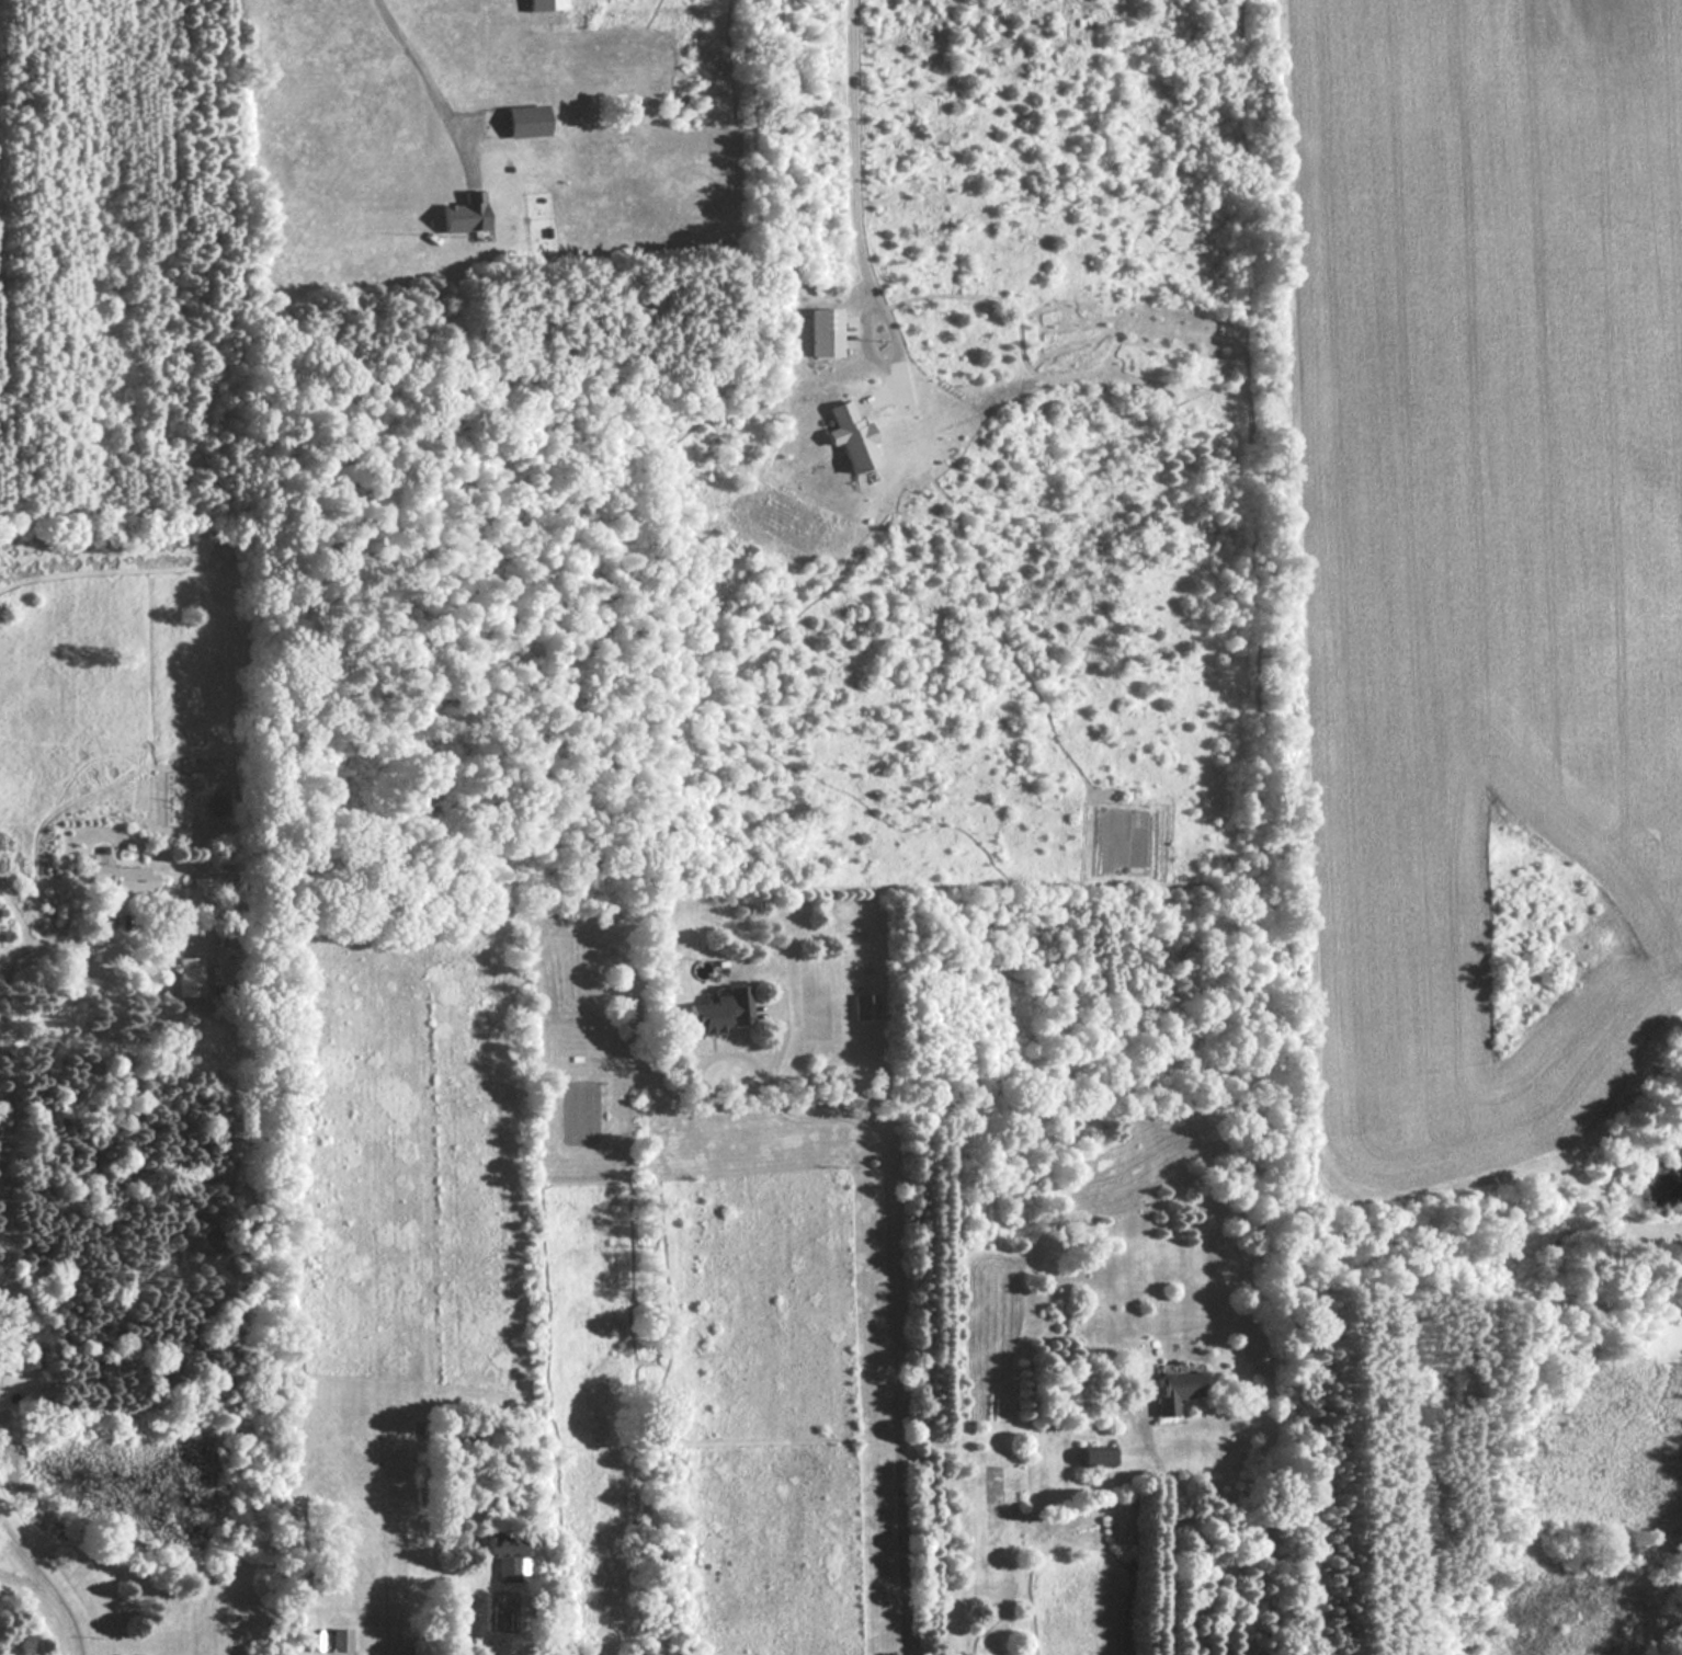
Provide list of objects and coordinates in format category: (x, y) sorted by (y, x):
building: (526, 122)
building: (465, 215)
building: (218, 806)
building: (122, 880)
building: (228, 939)
building: (190, 977)
building: (865, 1006)
building: (723, 1009)
road: (706, 1066)
road: (897, 1339)
building: (1177, 1390)
building: (1095, 1458)
building: (507, 1567)
road: (23, 1573)
road: (45, 1582)
building: (341, 1639)

